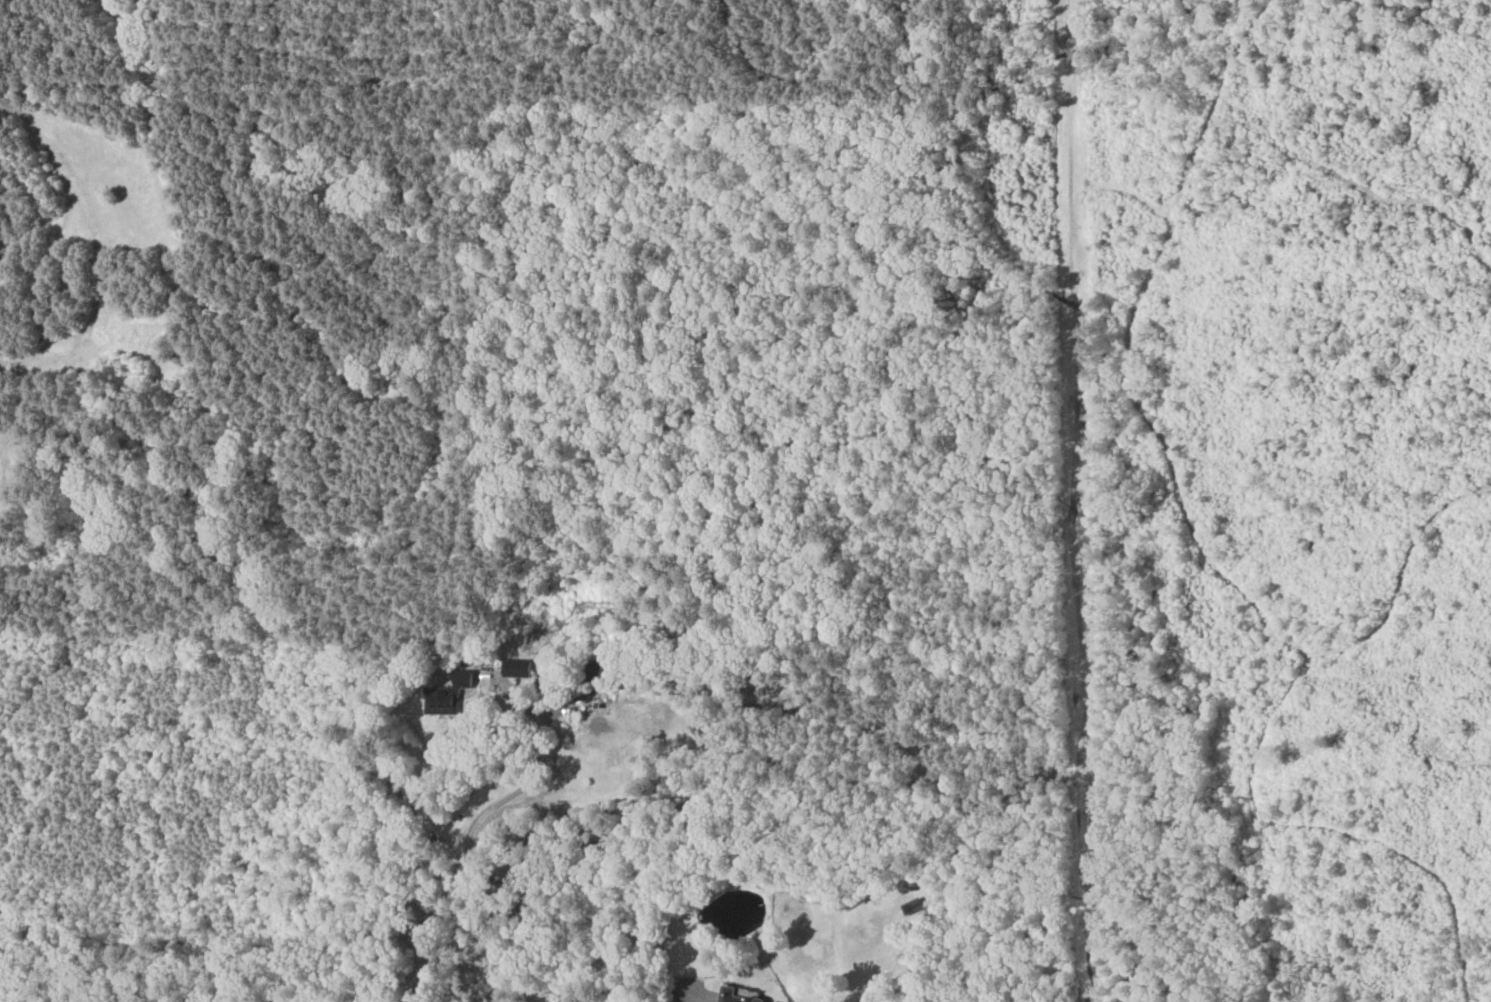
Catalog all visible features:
building: (451, 693)
road: (468, 846)
building: (915, 905)
building: (741, 995)

